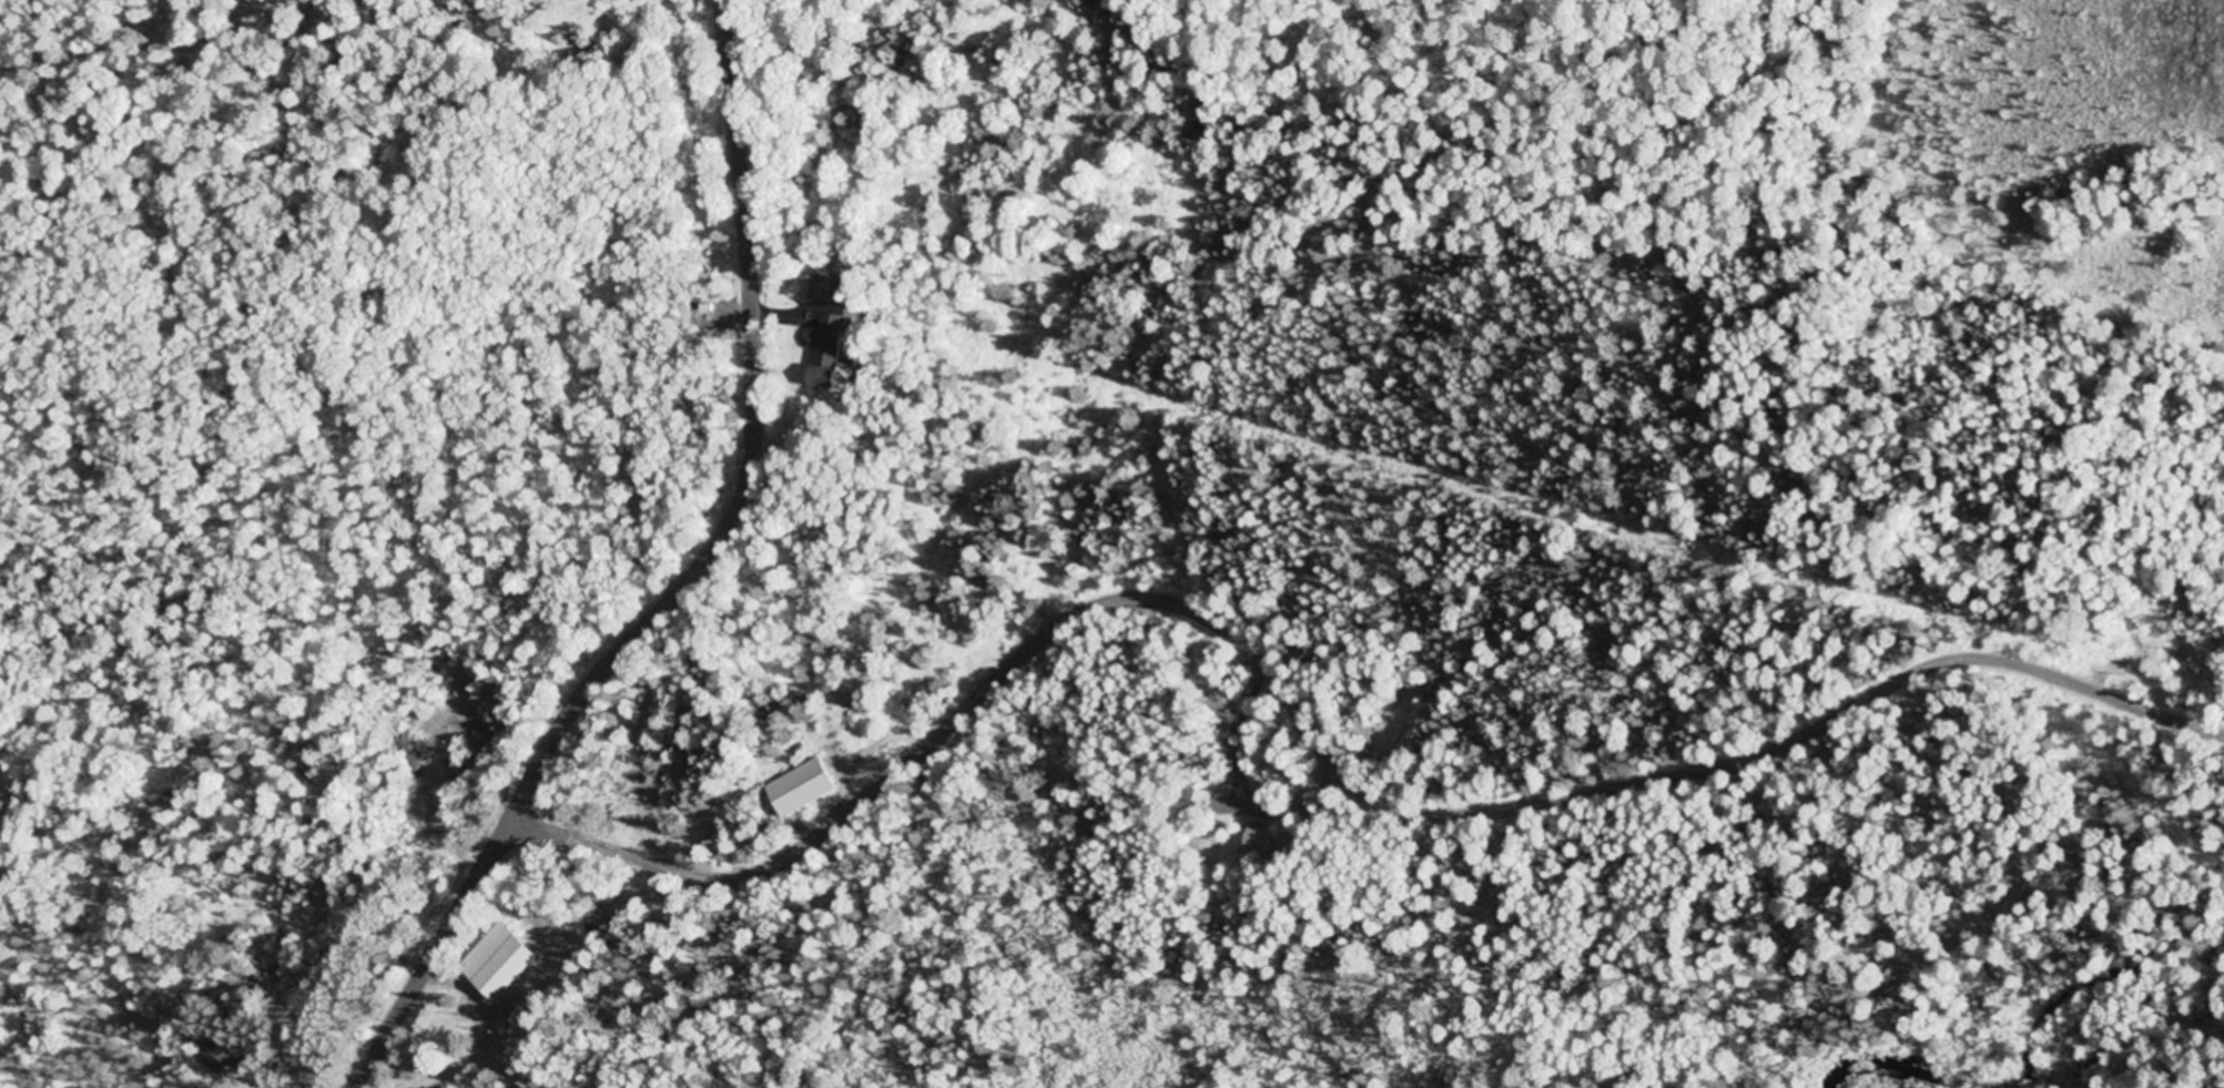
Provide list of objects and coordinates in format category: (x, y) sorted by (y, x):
building: (834, 352)
road: (688, 580)
road: (1324, 730)
building: (804, 789)
building: (1201, 795)
building: (504, 960)
river: (2104, 982)
river: (1891, 1064)

